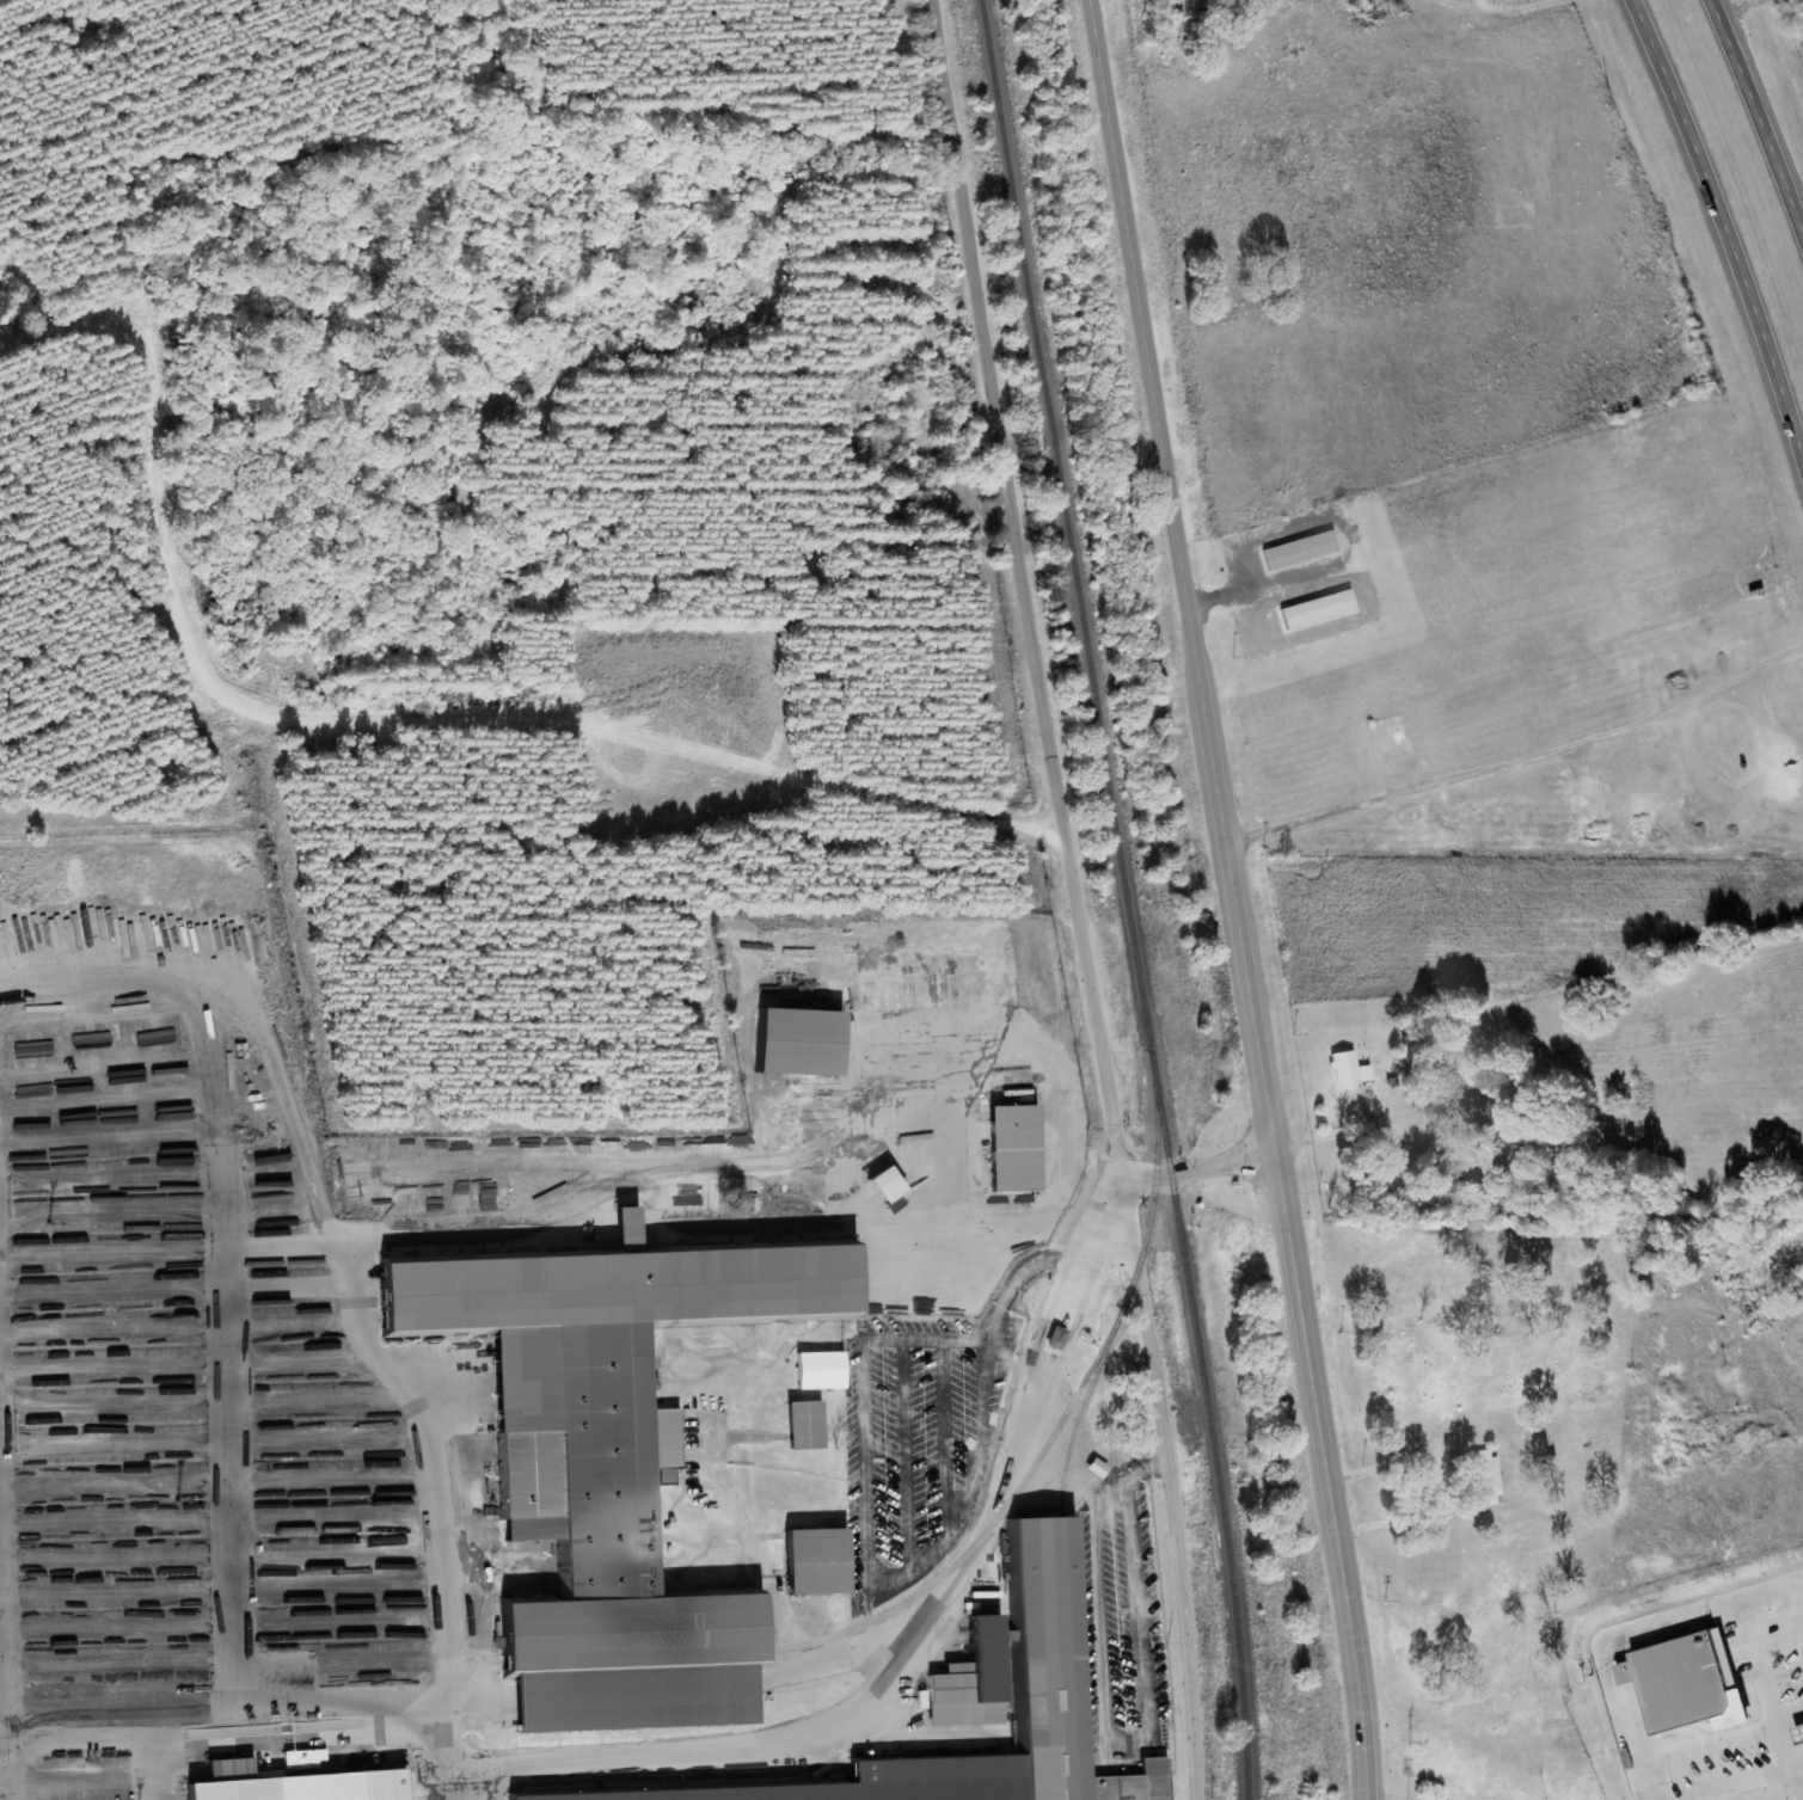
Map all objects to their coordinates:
road: (1764, 100)
road: (1723, 219)
building: (1302, 551)
building: (1320, 610)
road: (1075, 898)
railway: (1123, 898)
road: (1235, 898)
building: (807, 1043)
building: (1345, 1071)
building: (1019, 1148)
building: (891, 1185)
railway: (1129, 1292)
building: (1059, 1338)
building: (824, 1370)
building: (809, 1425)
building: (618, 1462)
building: (1099, 1468)
building: (1488, 1479)
building: (823, 1561)
road: (970, 1607)
building: (1692, 1685)
building: (1802, 1731)
building: (302, 1781)

